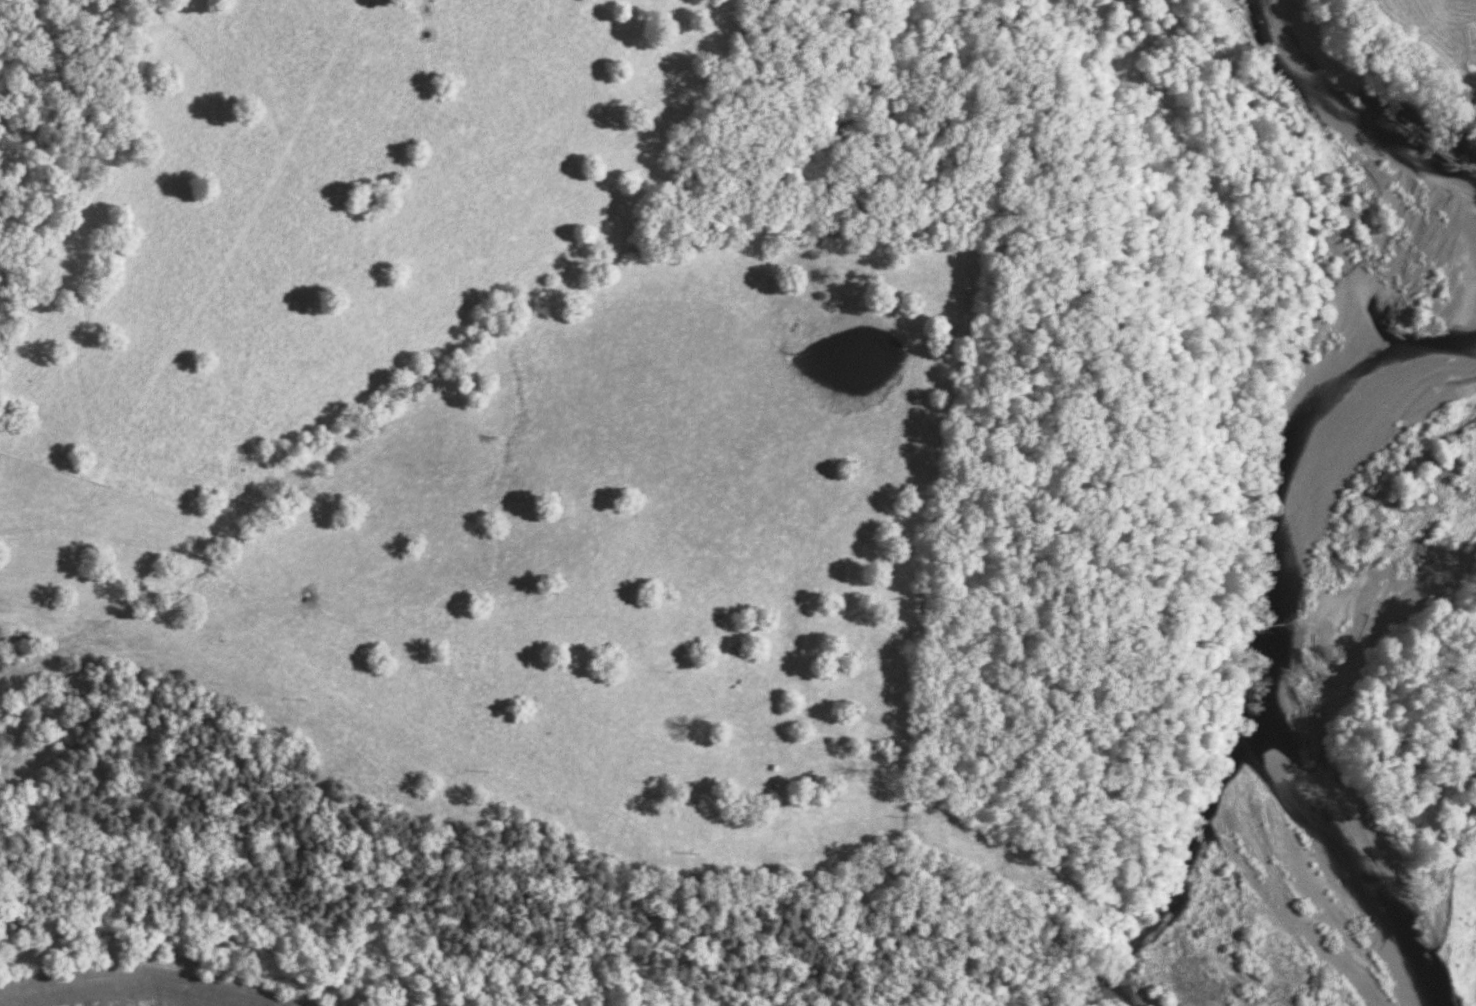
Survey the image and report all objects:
river: (1410, 196)
river: (1252, 750)

